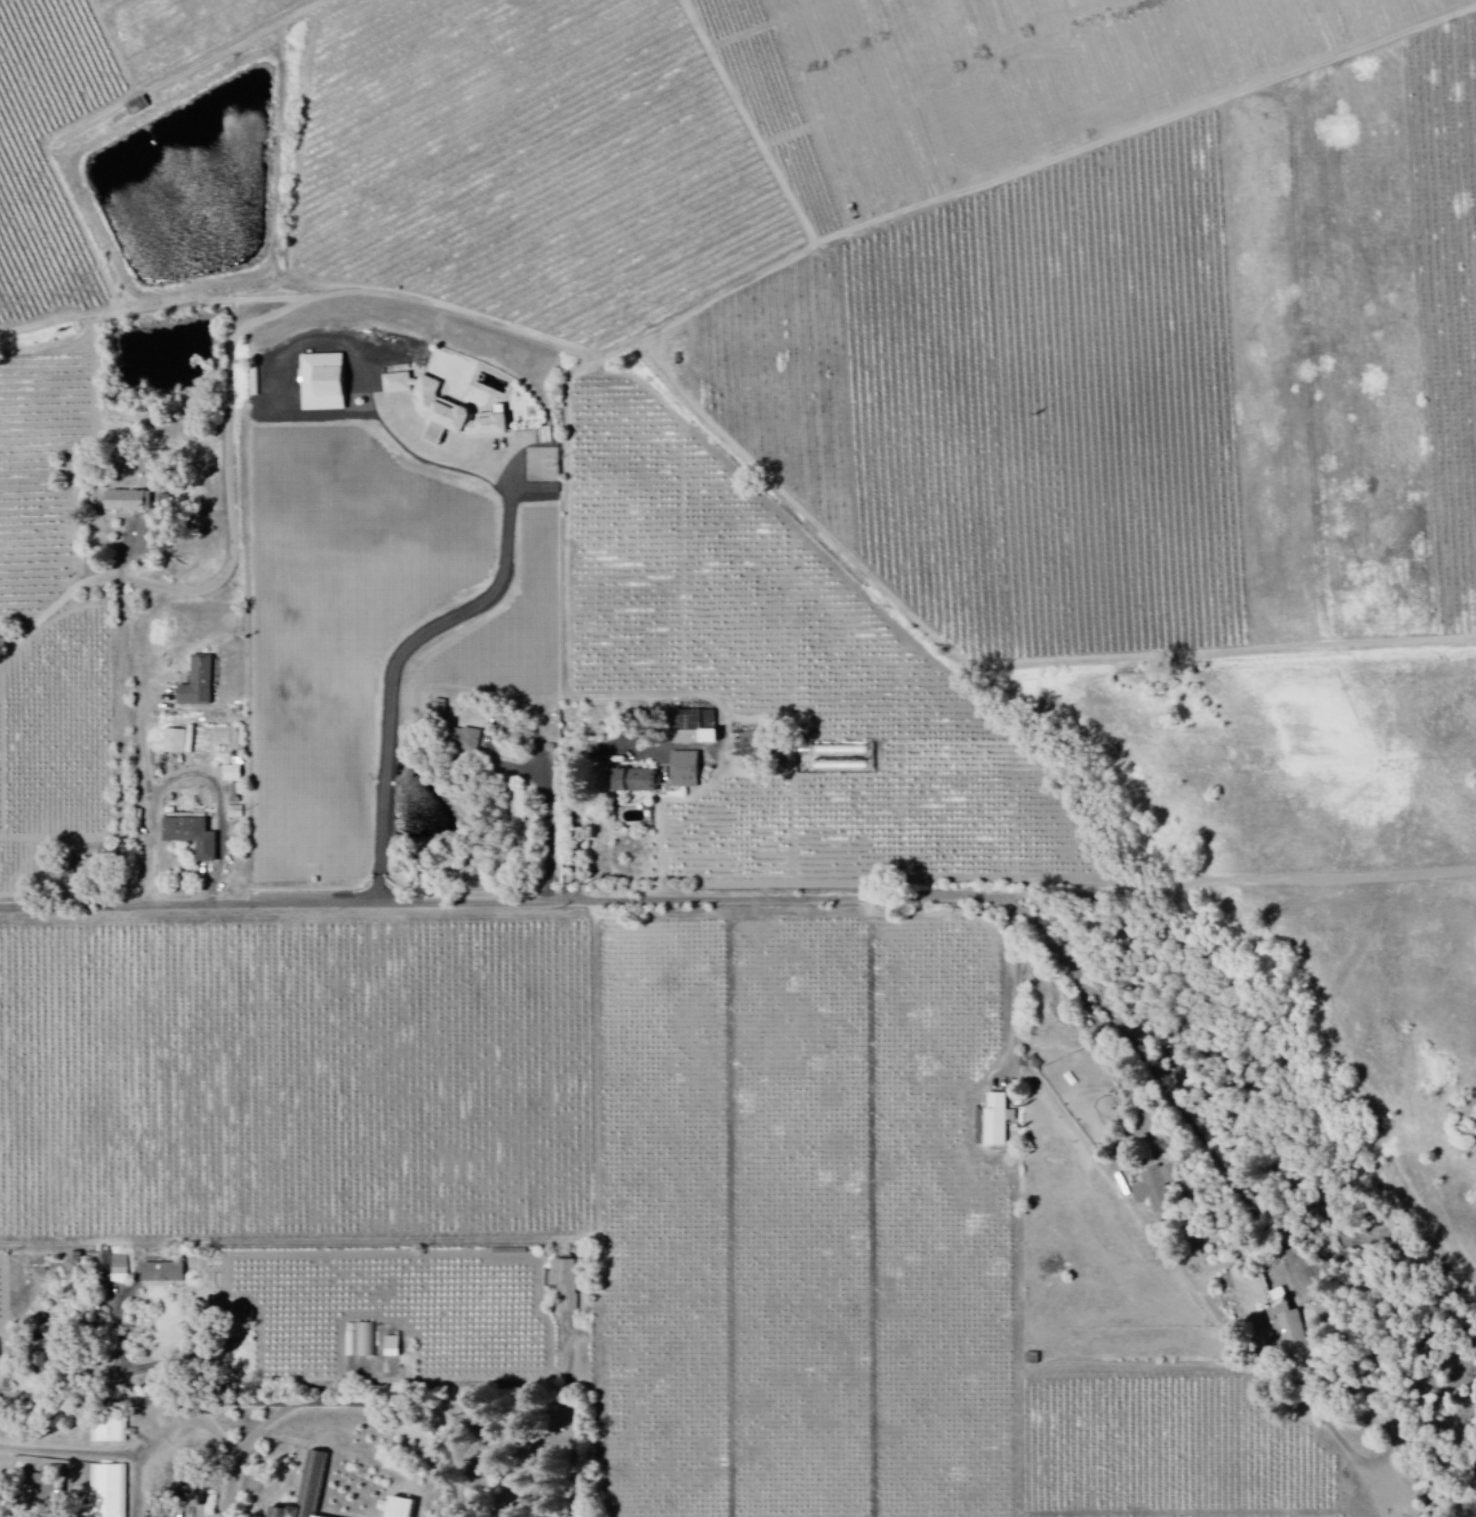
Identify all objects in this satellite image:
building: (322, 384)
building: (429, 406)
building: (489, 425)
building: (163, 501)
building: (128, 503)
road: (64, 606)
road: (391, 678)
building: (198, 683)
building: (694, 729)
building: (179, 741)
building: (470, 741)
road: (122, 745)
building: (747, 746)
road: (574, 761)
building: (685, 770)
building: (233, 775)
building: (633, 781)
building: (234, 792)
road: (548, 799)
building: (520, 807)
building: (192, 836)
road: (515, 905)
building: (996, 1121)
building: (1157, 1188)
road: (1250, 1191)
road: (1020, 1249)
building: (75, 1268)
building: (120, 1270)
building: (163, 1273)
building: (566, 1284)
building: (243, 1316)
building: (1288, 1328)
building: (362, 1342)
building: (39, 1347)
building: (392, 1348)
building: (38, 1364)
road: (311, 1388)
road: (347, 1404)
road: (145, 1405)
building: (111, 1431)
road: (214, 1437)
park: (529, 1470)
building: (308, 1488)
building: (108, 1490)
building: (403, 1507)

